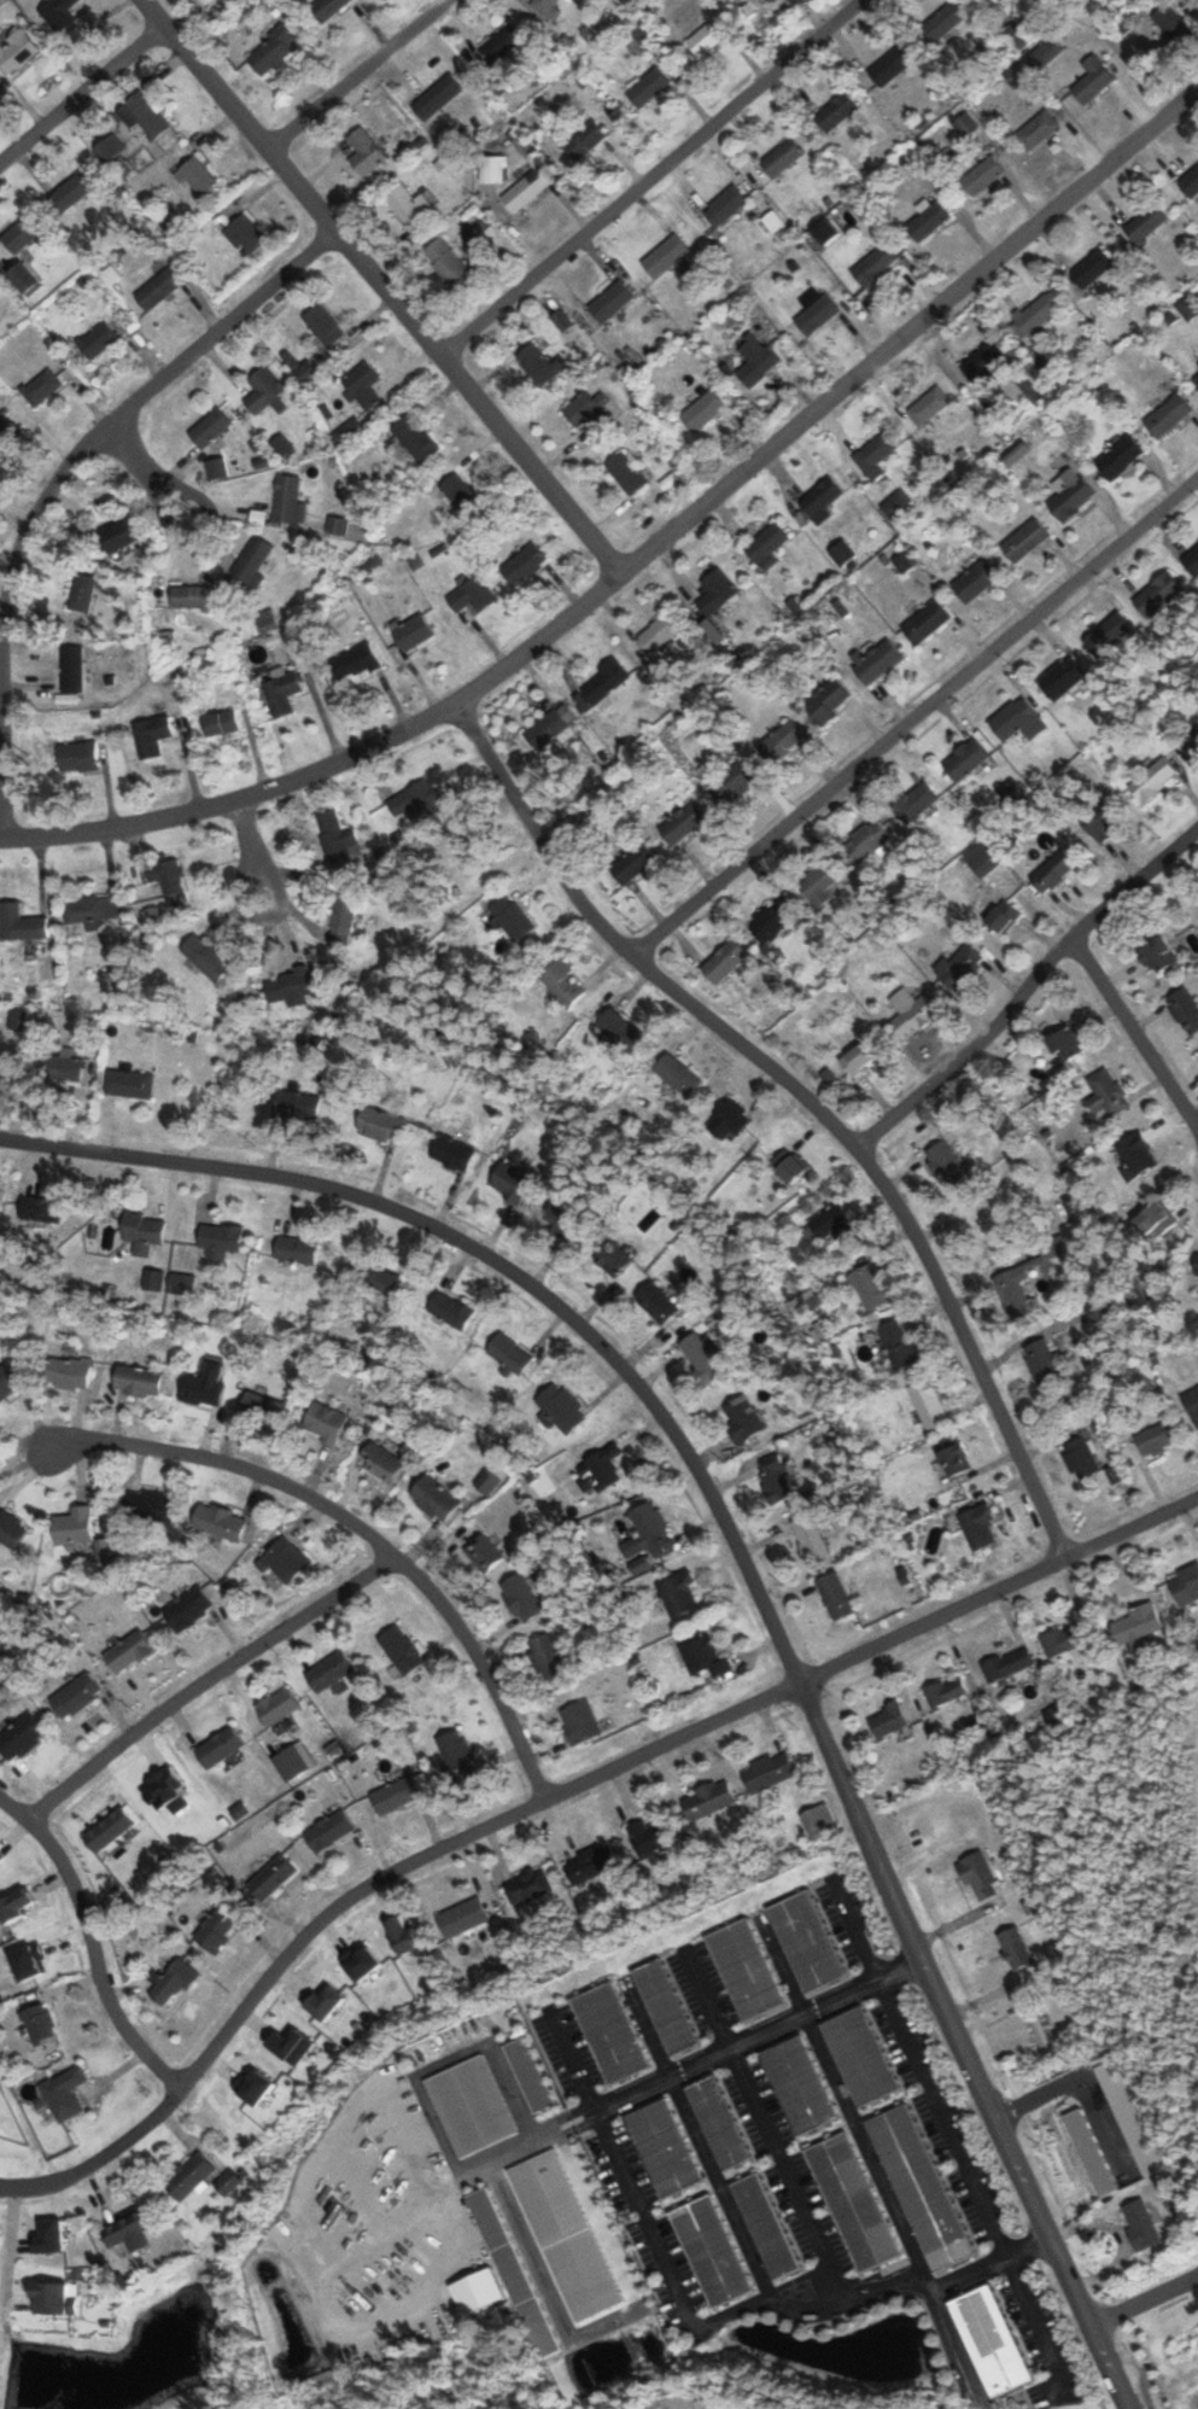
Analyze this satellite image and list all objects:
building: (221, 0)
building: (544, 6)
building: (326, 8)
building: (58, 13)
building: (945, 22)
building: (1170, 23)
building: (708, 34)
building: (501, 43)
building: (271, 51)
building: (16, 52)
building: (1045, 54)
building: (890, 66)
road: (356, 75)
building: (1016, 76)
building: (1092, 80)
building: (647, 87)
road: (81, 93)
building: (437, 97)
building: (837, 112)
building: (144, 116)
building: (965, 126)
building: (1038, 130)
building: (584, 141)
building: (363, 152)
building: (782, 158)
building: (982, 175)
building: (197, 177)
road: (648, 177)
building: (1190, 182)
building: (527, 188)
building: (74, 191)
building: (407, 203)
building: (725, 206)
building: (928, 222)
building: (1146, 223)
building: (245, 234)
building: (21, 235)
building: (666, 256)
building: (446, 259)
building: (875, 264)
building: (1091, 268)
road: (380, 286)
building: (158, 288)
building: (610, 302)
building: (816, 310)
building: (1038, 314)
building: (323, 325)
building: (97, 340)
building: (755, 360)
building: (983, 360)
building: (540, 364)
building: (1196, 379)
building: (362, 384)
building: (41, 386)
building: (263, 390)
building: (929, 406)
building: (590, 412)
building: (699, 413)
building: (1168, 416)
building: (210, 427)
building: (7, 432)
building: (414, 438)
building: (876, 455)
building: (1121, 457)
building: (218, 467)
road: (142, 473)
building: (626, 474)
road: (57, 478)
building: (461, 494)
building: (1073, 498)
building: (288, 500)
building: (820, 502)
building: (118, 533)
building: (1023, 543)
building: (767, 544)
road: (645, 552)
building: (843, 553)
building: (253, 561)
building: (1191, 561)
building: (524, 564)
building: (976, 581)
building: (717, 591)
building: (83, 594)
building: (474, 594)
building: (1158, 594)
building: (189, 597)
building: (267, 622)
building: (927, 622)
building: (661, 631)
building: (413, 632)
building: (1108, 635)
building: (353, 661)
building: (72, 669)
building: (1062, 677)
building: (604, 681)
building: (282, 692)
building: (828, 701)
road: (914, 716)
building: (1018, 721)
building: (221, 722)
building: (548, 730)
building: (151, 735)
building: (782, 741)
building: (1191, 745)
building: (77, 757)
building: (966, 758)
building: (1153, 780)
building: (732, 783)
building: (416, 801)
building: (916, 803)
building: (1103, 822)
building: (684, 823)
building: (335, 832)
building: (870, 839)
road: (251, 845)
building: (982, 859)
building: (633, 864)
building: (1053, 871)
building: (168, 880)
building: (820, 880)
building: (90, 909)
building: (510, 915)
building: (1004, 917)
building: (344, 918)
building: (770, 922)
building: (19, 923)
building: (206, 956)
building: (1158, 956)
building: (725, 961)
building: (959, 967)
building: (565, 982)
building: (296, 985)
road: (1025, 990)
building: (1185, 1010)
building: (911, 1013)
building: (623, 1028)
road: (1132, 1033)
building: (1069, 1043)
building: (859, 1058)
building: (0, 1060)
building: (59, 1066)
building: (677, 1074)
building: (129, 1084)
building: (1108, 1095)
road: (803, 1097)
building: (297, 1103)
building: (730, 1120)
building: (380, 1124)
building: (454, 1153)
building: (1139, 1155)
building: (947, 1165)
building: (789, 1166)
building: (512, 1182)
building: (565, 1217)
building: (1156, 1217)
building: (828, 1226)
building: (142, 1232)
building: (220, 1240)
building: (297, 1249)
building: (612, 1256)
road: (499, 1265)
building: (1197, 1265)
building: (1013, 1278)
building: (152, 1279)
building: (381, 1281)
building: (181, 1284)
building: (870, 1287)
building: (658, 1302)
building: (451, 1310)
building: (1101, 1311)
building: (899, 1343)
building: (699, 1349)
building: (509, 1354)
building: (1045, 1365)
building: (69, 1372)
building: (6, 1381)
building: (138, 1381)
building: (208, 1383)
building: (929, 1404)
building: (1192, 1405)
building: (561, 1407)
building: (263, 1410)
building: (742, 1418)
building: (325, 1423)
building: (1157, 1439)
building: (1081, 1458)
building: (954, 1459)
building: (381, 1462)
building: (602, 1466)
building: (776, 1477)
building: (486, 1482)
building: (434, 1499)
building: (150, 1505)
building: (221, 1522)
building: (72, 1527)
building: (980, 1527)
building: (653, 1529)
building: (10, 1530)
road: (363, 1532)
building: (810, 1533)
building: (486, 1553)
building: (285, 1559)
building: (1185, 1586)
building: (678, 1593)
building: (835, 1596)
building: (521, 1597)
building: (187, 1608)
building: (1138, 1626)
building: (1064, 1640)
building: (399, 1650)
building: (128, 1652)
building: (703, 1656)
building: (548, 1657)
building: (1007, 1663)
building: (328, 1672)
road: (203, 1680)
building: (945, 1691)
building: (75, 1695)
building: (276, 1707)
building: (579, 1721)
building: (888, 1721)
building: (980, 1722)
building: (21, 1737)
building: (218, 1746)
building: (457, 1754)
building: (290, 1763)
building: (769, 1772)
road: (582, 1781)
building: (165, 1790)
building: (395, 1795)
building: (708, 1801)
building: (818, 1815)
building: (109, 1831)
building: (328, 1831)
building: (649, 1837)
building: (590, 1866)
building: (270, 1879)
building: (981, 1880)
building: (528, 1886)
building: (462, 1918)
building: (217, 1927)
road: (853, 1930)
building: (806, 1941)
road: (90, 1944)
building: (1016, 1949)
building: (746, 1968)
building: (171, 1984)
building: (664, 2007)
building: (39, 2024)
building: (609, 2032)
building: (1040, 2032)
road: (964, 2046)
building: (858, 2055)
building: (528, 2076)
building: (799, 2084)
road: (929, 2093)
building: (65, 2094)
building: (471, 2106)
building: (717, 2123)
building: (662, 2147)
building: (1112, 2166)
building: (189, 2177)
road: (24, 2186)
building: (919, 2188)
building: (852, 2201)
building: (1140, 2226)
building: (764, 2227)
building: (128, 2232)
building: (709, 2251)
building: (513, 2273)
building: (1168, 2285)
road: (936, 2291)
road: (1145, 2296)
road: (1035, 2321)
building: (989, 2341)
building: (1193, 2367)

